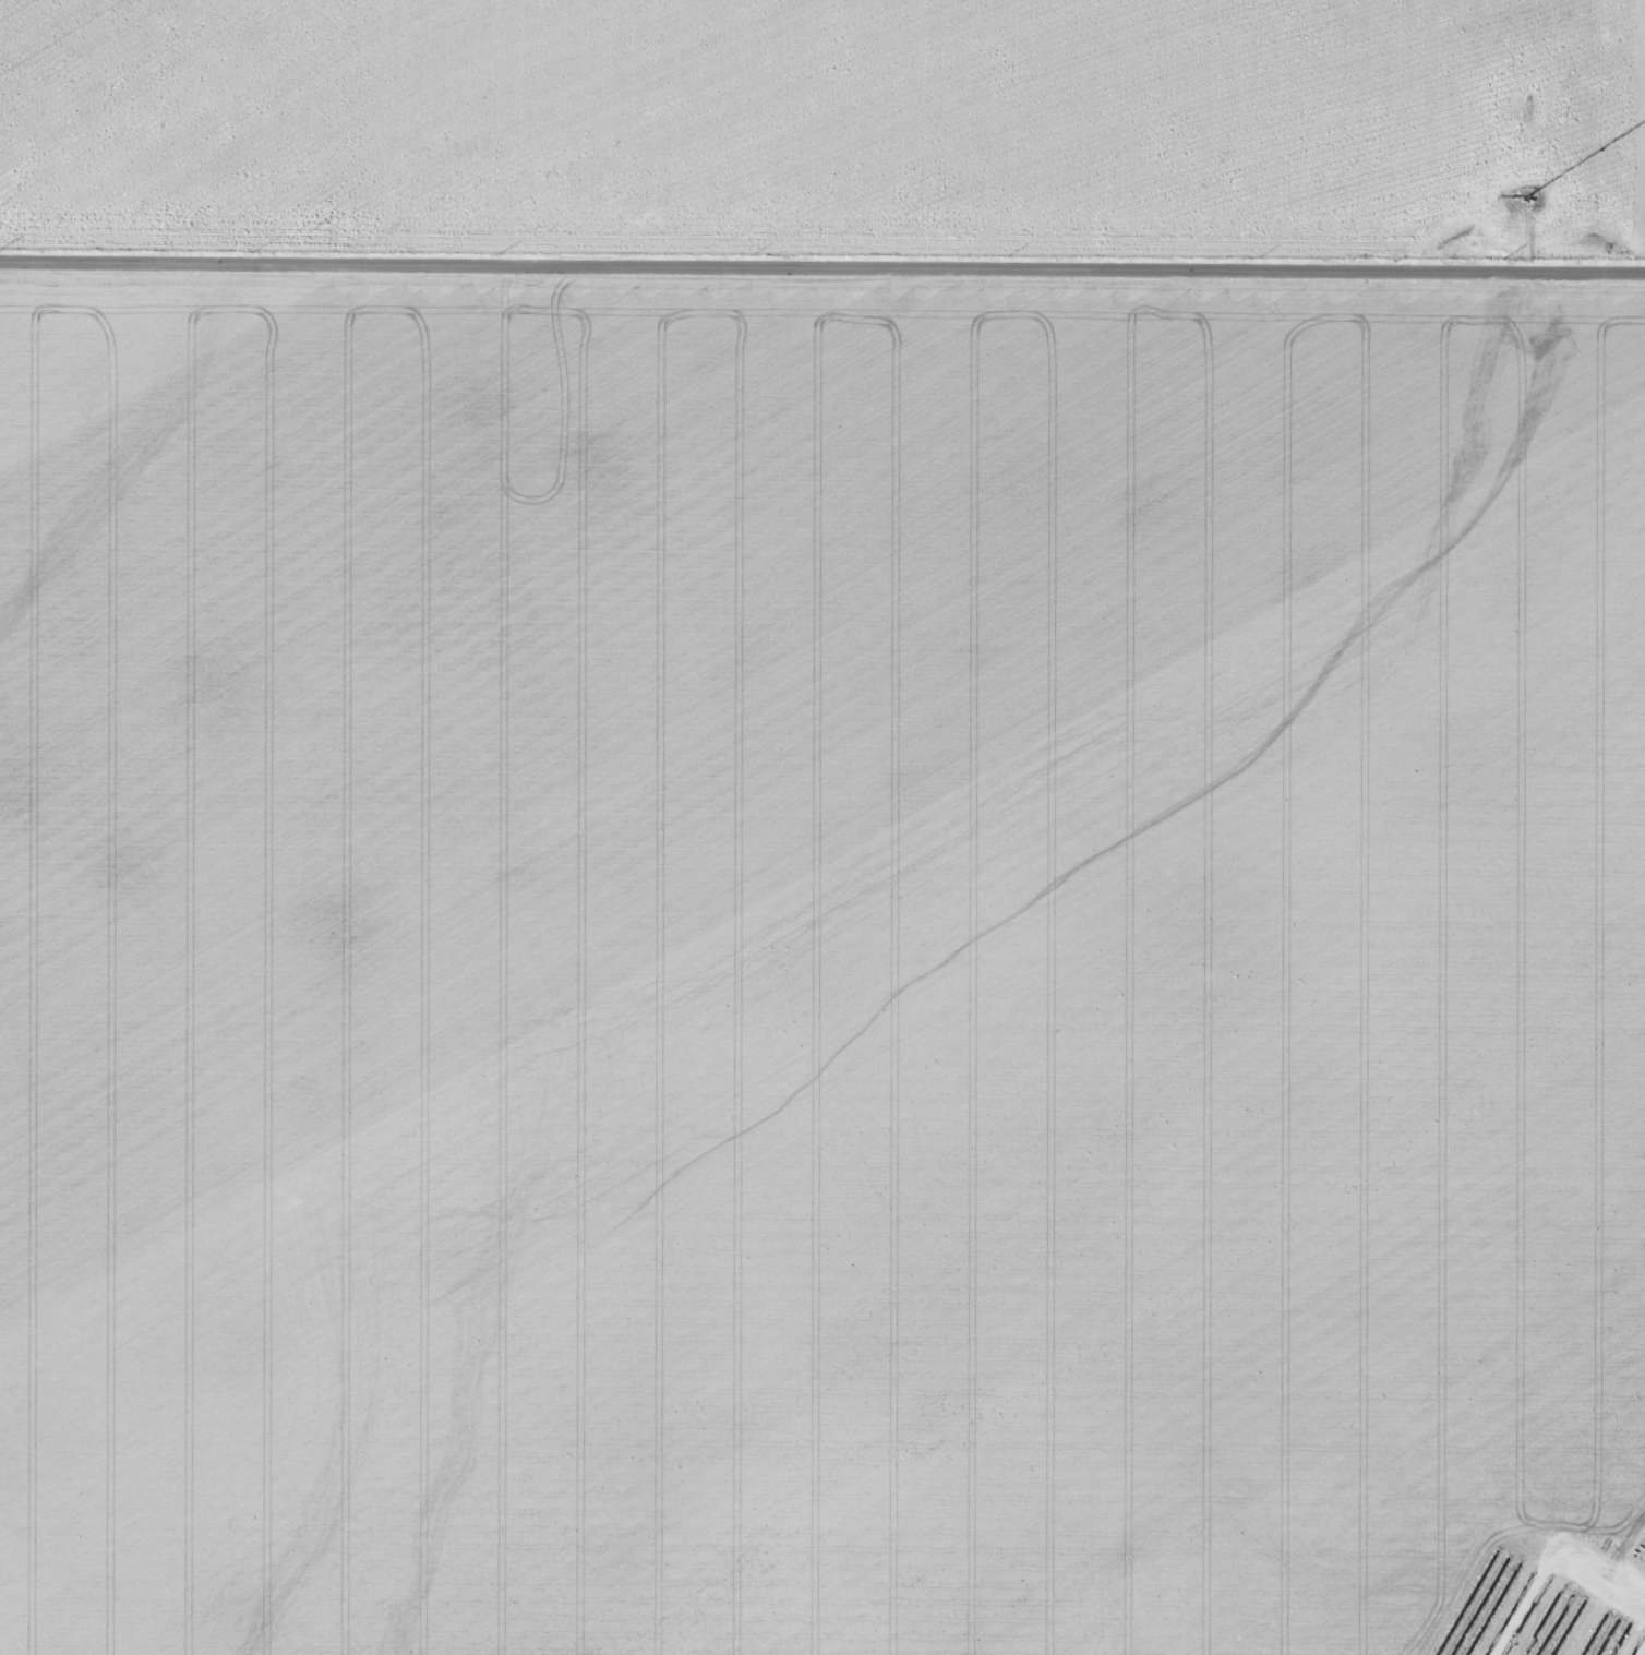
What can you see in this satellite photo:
road: (822, 266)

